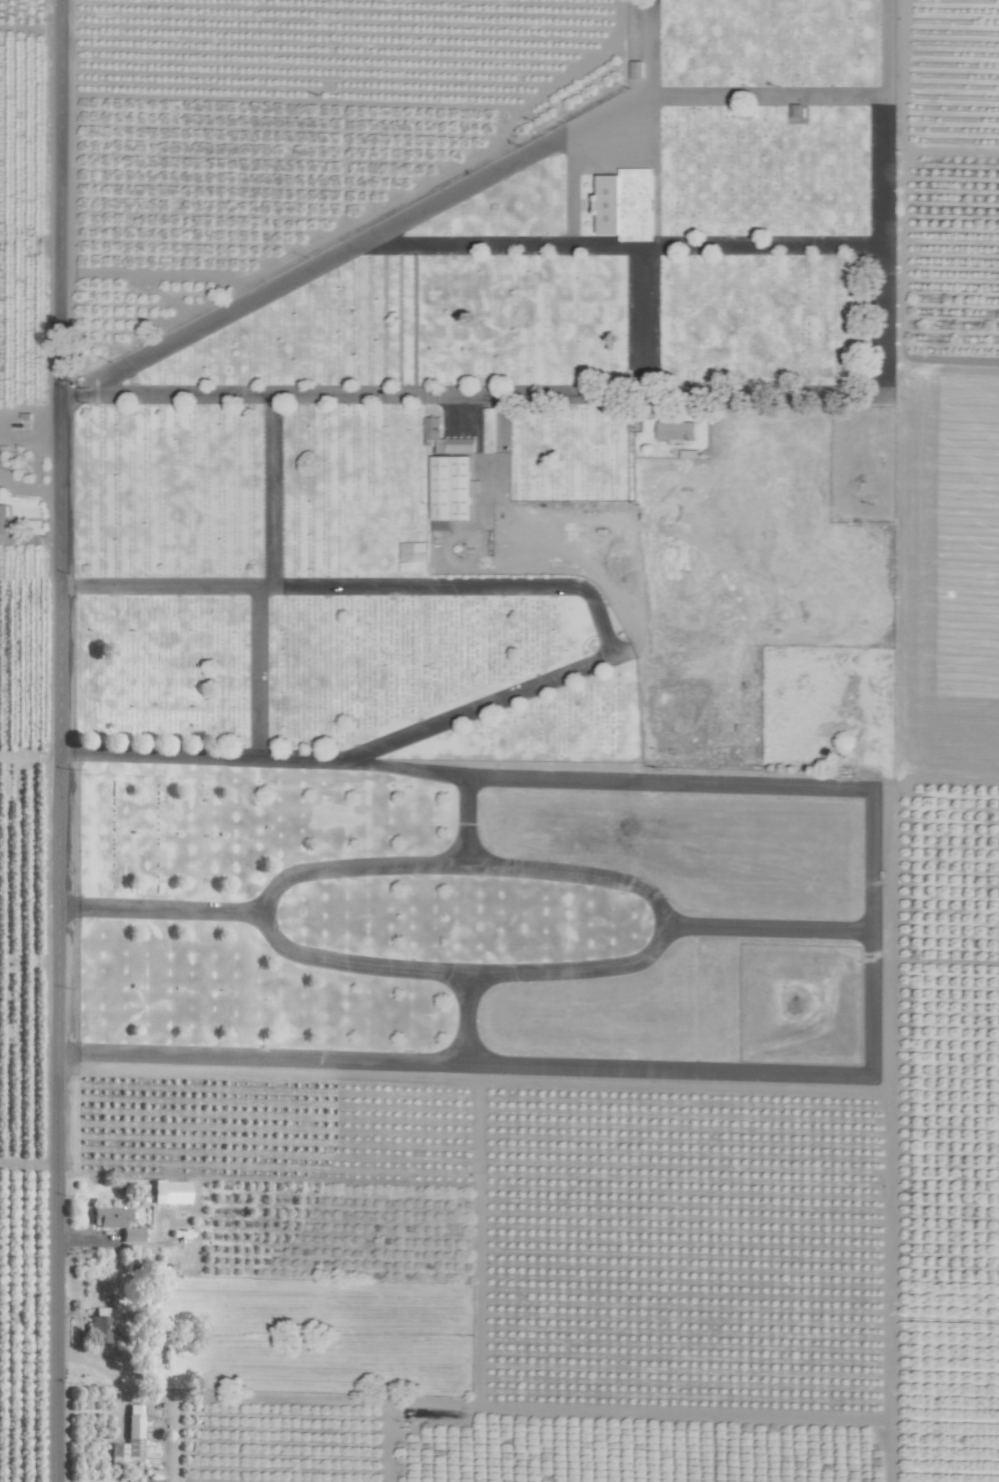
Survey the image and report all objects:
building: (816, 32)
building: (638, 69)
building: (797, 110)
building: (627, 204)
road: (826, 250)
road: (223, 318)
road: (637, 364)
building: (487, 430)
building: (446, 439)
road: (262, 490)
building: (451, 491)
building: (3, 519)
building: (419, 552)
road: (605, 643)
road: (244, 673)
road: (66, 740)
crop: (486, 745)
road: (680, 781)
road: (453, 819)
road: (157, 908)
road: (778, 925)
road: (451, 1017)
building: (170, 1192)
building: (109, 1217)
building: (131, 1235)
building: (98, 1325)
building: (141, 1368)
building: (128, 1437)

